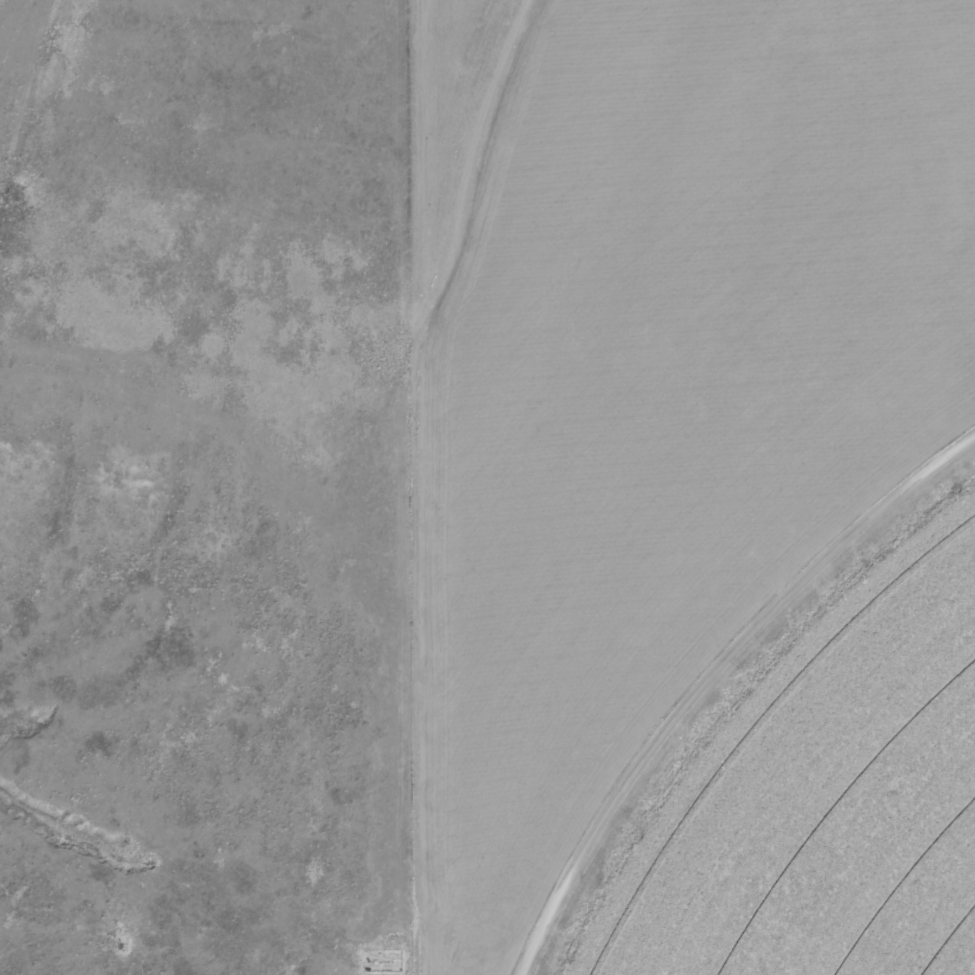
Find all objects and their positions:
road: (709, 673)

